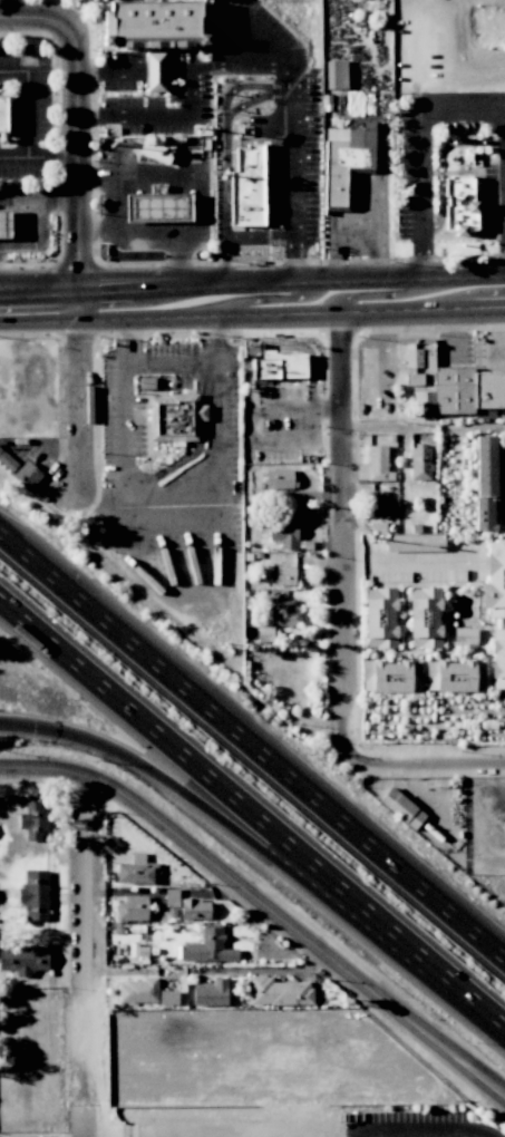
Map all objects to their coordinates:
building: (154, 23)
road: (229, 66)
road: (107, 71)
building: (155, 72)
road: (155, 72)
road: (259, 99)
building: (3, 113)
road: (153, 114)
road: (27, 124)
road: (293, 134)
road: (260, 143)
road: (225, 152)
road: (420, 152)
road: (13, 158)
building: (343, 161)
road: (440, 164)
road: (130, 173)
building: (247, 187)
road: (19, 193)
road: (111, 201)
building: (459, 204)
building: (157, 207)
road: (176, 208)
road: (38, 220)
road: (74, 222)
building: (4, 224)
road: (126, 235)
road: (181, 256)
road: (475, 279)
road: (408, 282)
road: (38, 288)
road: (223, 290)
road: (350, 294)
road: (38, 298)
road: (273, 302)
road: (467, 308)
road: (214, 315)
road: (377, 352)
road: (169, 363)
building: (278, 366)
building: (446, 385)
building: (175, 418)
building: (7, 460)
building: (420, 464)
building: (375, 465)
building: (28, 475)
building: (280, 478)
building: (485, 484)
road: (168, 497)
road: (100, 499)
building: (377, 504)
building: (285, 531)
road: (344, 538)
building: (416, 543)
building: (284, 575)
building: (494, 581)
building: (285, 613)
building: (425, 618)
building: (381, 619)
building: (465, 635)
building: (497, 659)
building: (455, 674)
building: (391, 676)
road: (252, 745)
road: (428, 766)
road: (68, 769)
building: (401, 808)
road: (252, 812)
building: (32, 822)
road: (261, 846)
building: (137, 871)
building: (35, 895)
building: (132, 908)
building: (195, 908)
building: (210, 946)
road: (318, 947)
road: (80, 953)
building: (23, 960)
road: (275, 968)
building: (140, 991)
building: (211, 992)
building: (279, 992)
road: (424, 1133)

